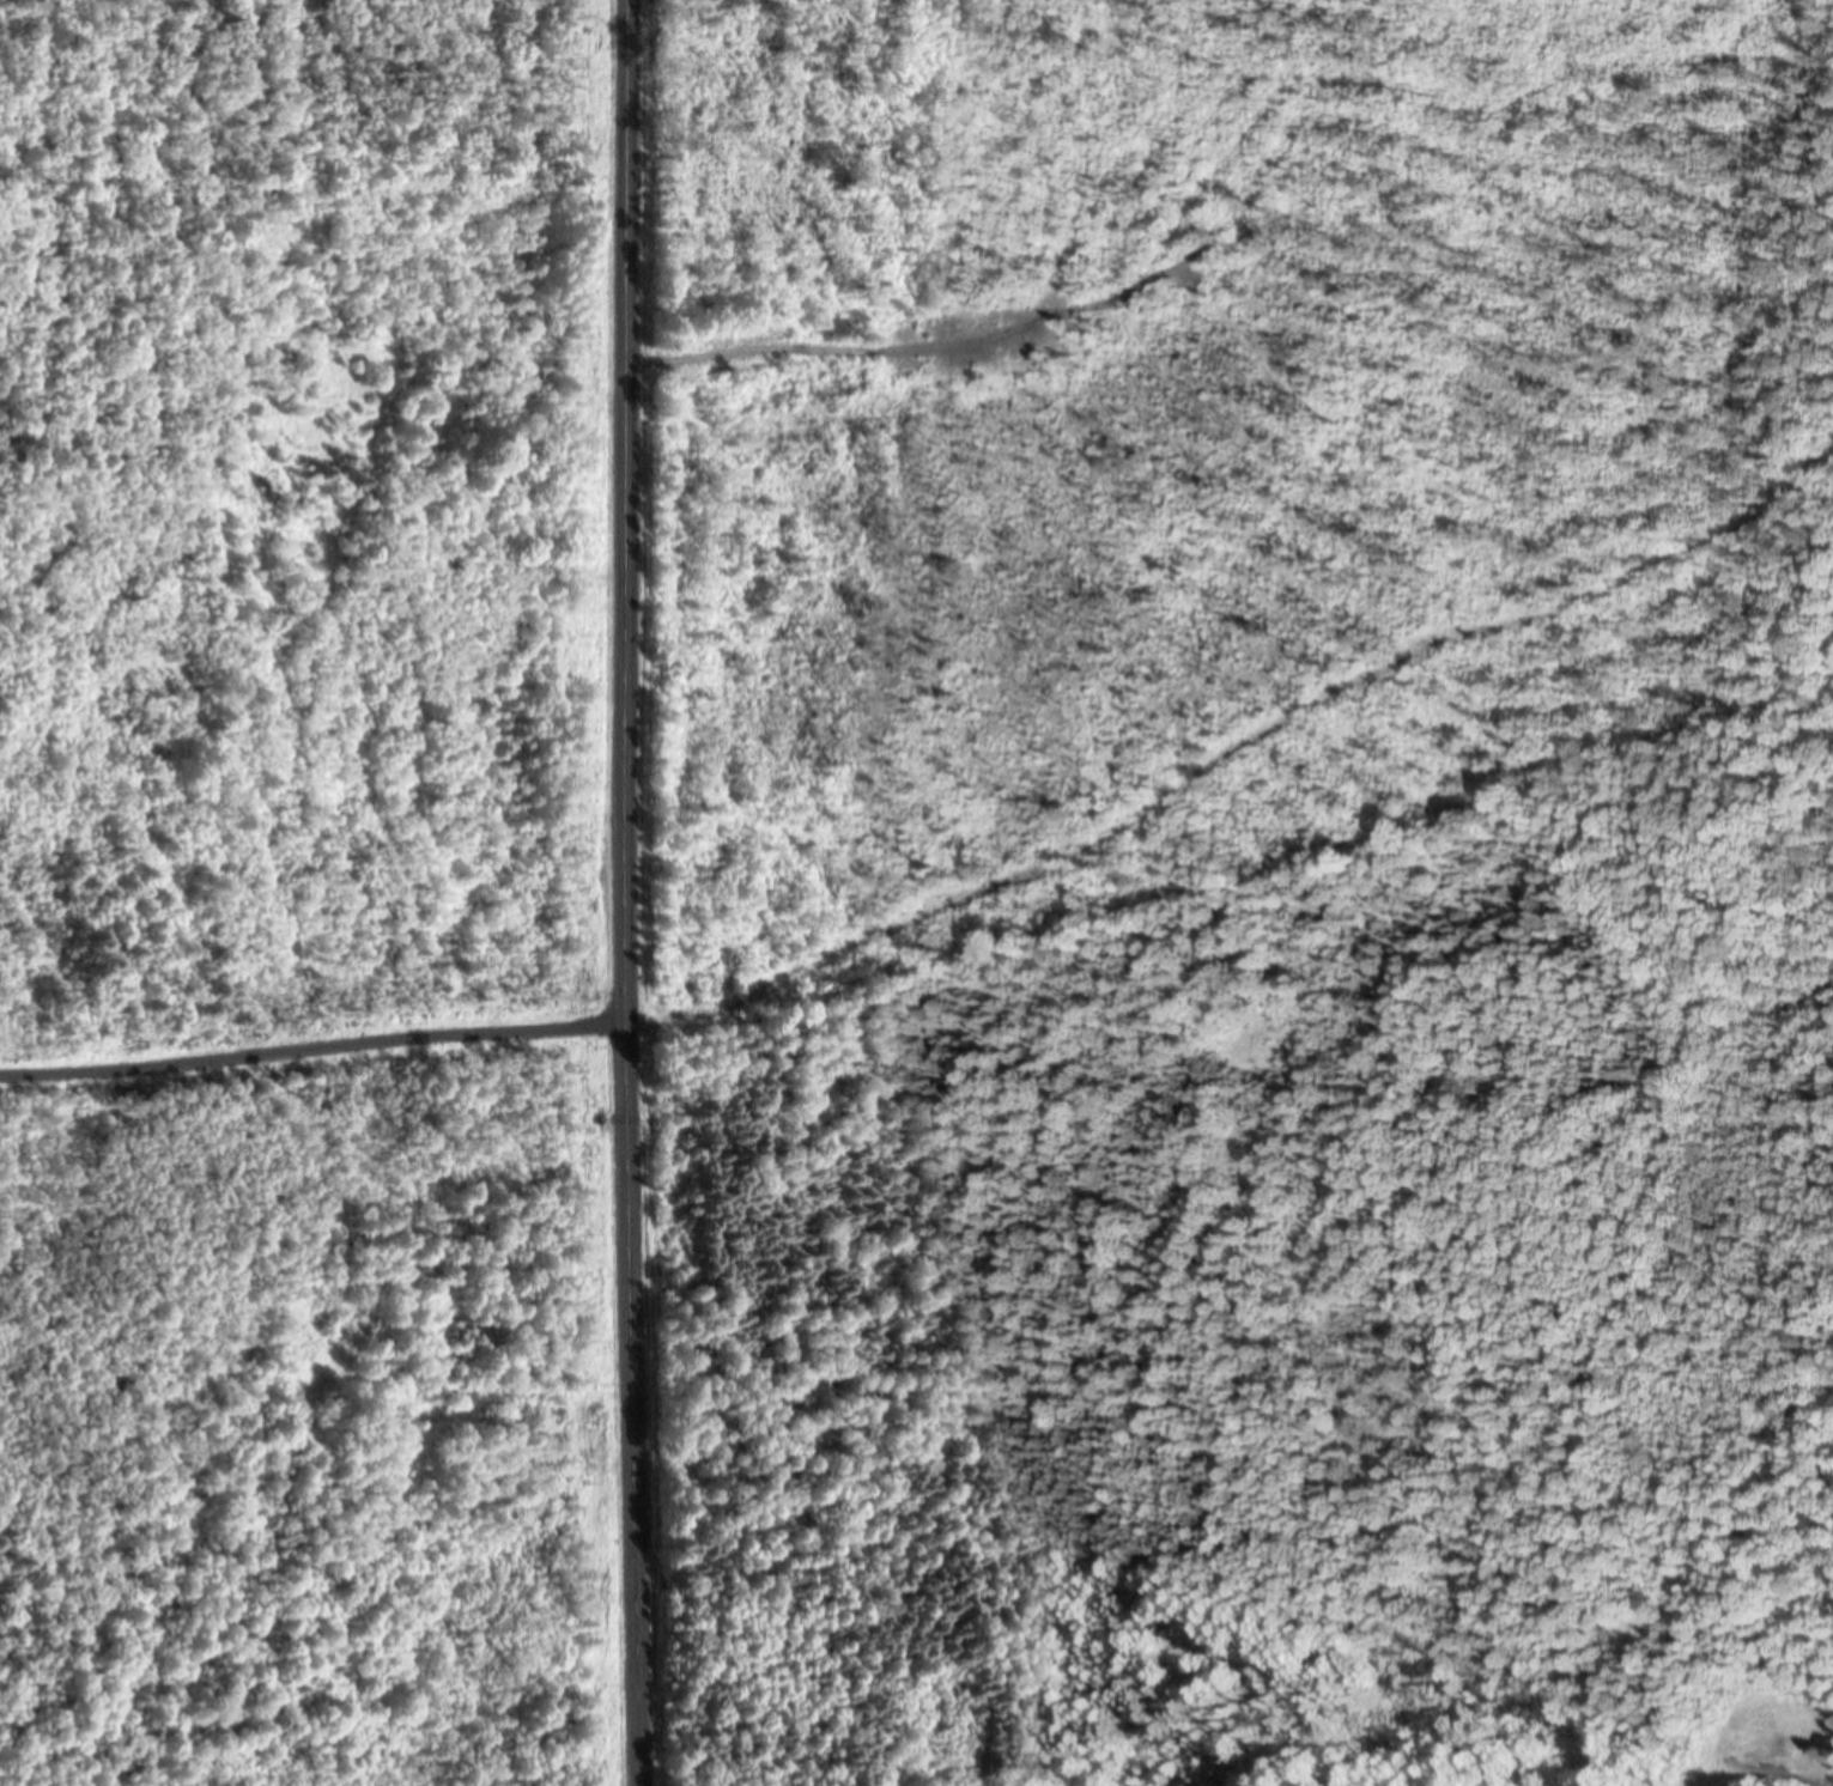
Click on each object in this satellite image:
road: (635, 893)
road: (316, 1044)

